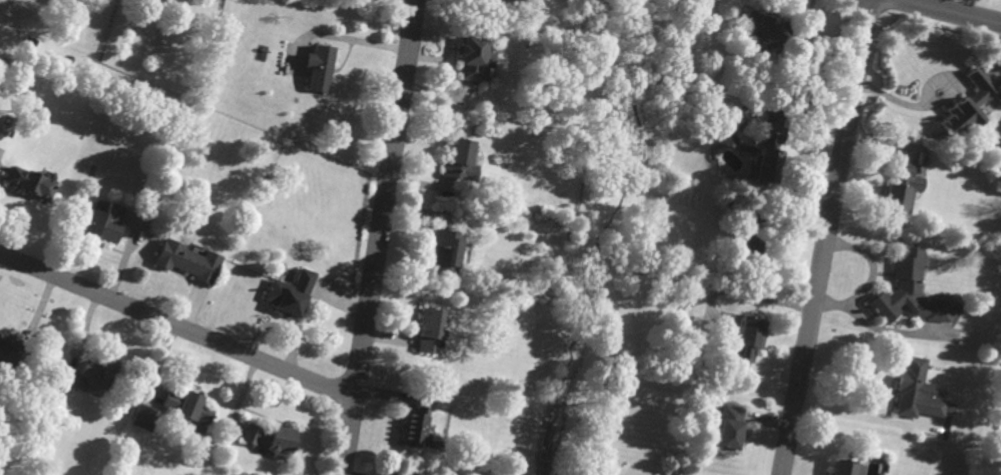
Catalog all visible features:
building: (498, 1)
road: (942, 13)
building: (758, 28)
road: (345, 40)
building: (472, 58)
building: (319, 67)
road: (904, 103)
building: (968, 105)
building: (459, 161)
building: (29, 182)
building: (903, 186)
building: (103, 223)
road: (378, 237)
road: (830, 237)
building: (444, 252)
building: (188, 261)
road: (874, 262)
building: (910, 290)
road: (740, 291)
building: (290, 293)
road: (177, 326)
road: (875, 326)
building: (429, 330)
building: (749, 338)
building: (8, 351)
building: (91, 374)
building: (918, 391)
building: (183, 404)
road: (849, 413)
building: (143, 417)
building: (418, 418)
building: (202, 420)
building: (729, 426)
building: (272, 440)
building: (849, 468)

